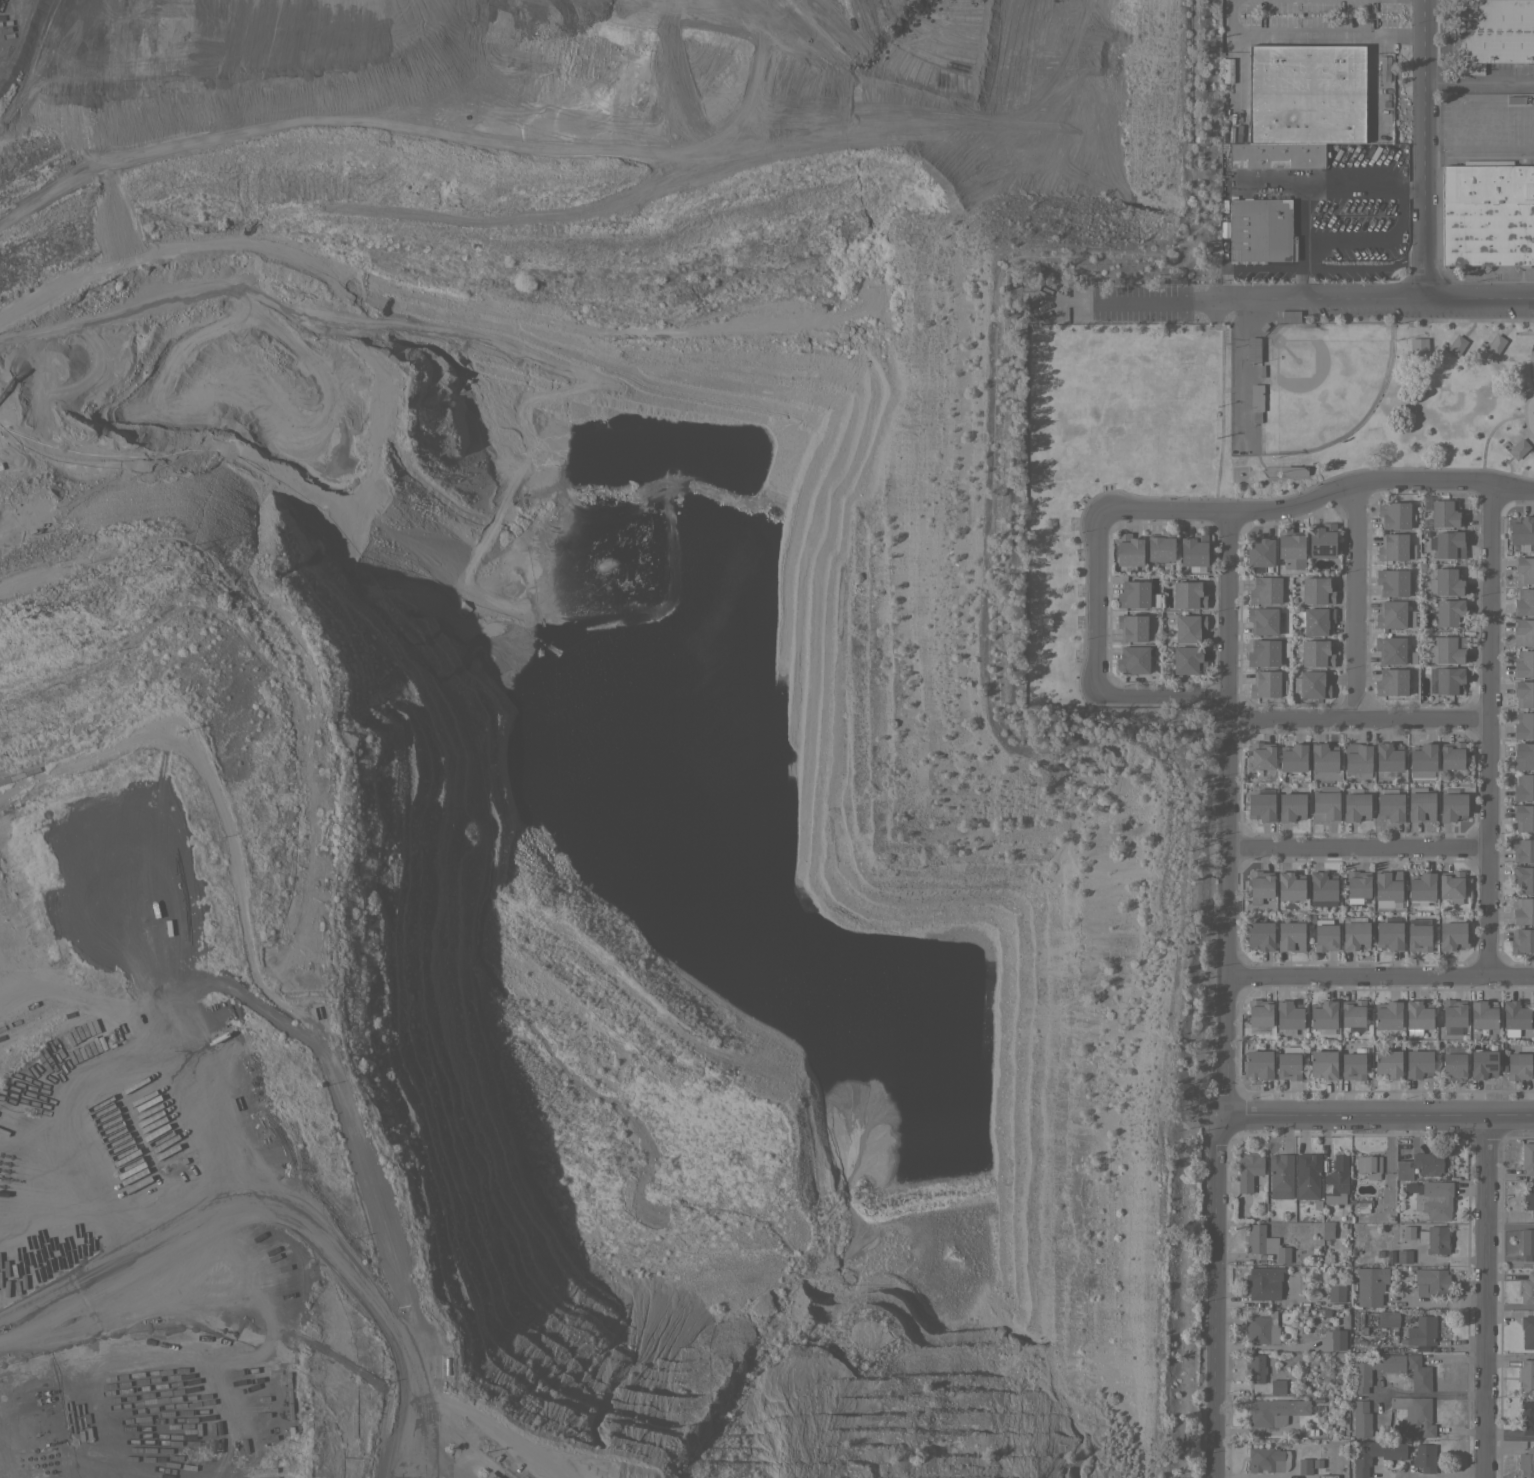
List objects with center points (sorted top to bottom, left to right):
building: (1491, 32)
road: (1310, 35)
building: (1532, 67)
road: (1478, 86)
building: (1305, 93)
building: (1515, 99)
building: (1276, 148)
road: (1422, 149)
road: (1477, 152)
building: (1276, 162)
road: (1268, 181)
road: (1311, 187)
road: (1410, 187)
building: (1487, 213)
building: (1260, 230)
road: (1374, 241)
road: (1246, 266)
road: (1363, 266)
road: (1301, 283)
road: (1272, 300)
building: (1286, 316)
building: (1495, 343)
building: (1456, 344)
building: (1417, 346)
building: (1253, 349)
park: (1324, 389)
building: (1256, 401)
park: (1236, 426)
building: (1519, 448)
building: (1294, 470)
road: (1163, 512)
building: (1444, 513)
building: (1393, 514)
building: (1521, 531)
building: (1321, 540)
building: (1448, 544)
building: (1160, 545)
building: (1395, 547)
building: (1290, 548)
building: (1128, 551)
building: (1193, 552)
building: (1258, 552)
building: (1524, 569)
building: (1394, 582)
building: (1445, 582)
building: (1265, 590)
building: (1316, 590)
building: (1133, 594)
building: (1188, 594)
building: (1524, 602)
road: (1353, 603)
building: (1448, 612)
building: (1393, 615)
building: (1262, 620)
building: (1314, 620)
building: (1131, 628)
building: (1189, 628)
building: (1523, 631)
building: (1390, 648)
building: (1447, 648)
building: (1266, 651)
building: (1316, 652)
building: (1132, 659)
building: (1188, 659)
building: (1524, 663)
building: (1448, 679)
building: (1391, 681)
building: (1265, 682)
building: (1311, 683)
building: (1523, 692)
road: (1358, 719)
building: (1523, 725)
road: (1487, 729)
quarry: (559, 746)
building: (1262, 754)
building: (1388, 755)
building: (1452, 755)
building: (1523, 755)
building: (1293, 756)
building: (1324, 756)
building: (1357, 758)
building: (1422, 759)
building: (1523, 787)
building: (1420, 804)
building: (1325, 805)
building: (1261, 806)
building: (1291, 806)
building: (1356, 806)
building: (1391, 806)
building: (1452, 806)
road: (1227, 815)
building: (1523, 816)
road: (1357, 849)
building: (1522, 849)
building: (1523, 878)
building: (1357, 884)
building: (1260, 885)
building: (1290, 885)
building: (1421, 885)
building: (1451, 885)
building: (1388, 887)
building: (1322, 888)
building: (1523, 910)
building: (1389, 934)
building: (1418, 934)
building: (1260, 935)
building: (1291, 935)
building: (1355, 935)
building: (1452, 935)
building: (1325, 937)
building: (1522, 940)
road: (1380, 976)
building: (1353, 1012)
building: (1259, 1014)
building: (1289, 1014)
building: (1388, 1014)
building: (1418, 1014)
building: (1483, 1014)
building: (1452, 1015)
building: (1323, 1016)
building: (1514, 1016)
building: (1483, 1062)
building: (1257, 1063)
building: (1388, 1063)
building: (1417, 1063)
building: (1323, 1064)
building: (1288, 1065)
building: (1518, 1065)
building: (1353, 1066)
building: (1453, 1066)
road: (1380, 1118)
building: (1527, 1157)
building: (1427, 1163)
building: (1369, 1165)
building: (1403, 1169)
building: (1248, 1170)
building: (1280, 1175)
building: (1307, 1175)
building: (1336, 1180)
building: (1436, 1198)
building: (1528, 1198)
building: (1362, 1205)
road: (1508, 1225)
building: (1435, 1240)
building: (1266, 1243)
building: (1527, 1243)
building: (1389, 1256)
building: (1402, 1256)
building: (1434, 1281)
building: (1263, 1282)
building: (1370, 1285)
building: (1527, 1289)
building: (1336, 1293)
road: (1212, 1296)
road: (1482, 1298)
road: (1508, 1304)
building: (1388, 1318)
building: (1261, 1328)
building: (1421, 1331)
building: (1527, 1331)
building: (1333, 1339)
road: (1507, 1355)
building: (1255, 1369)
building: (1418, 1373)
building: (1526, 1373)
building: (1361, 1379)
building: (1277, 1387)
road: (1428, 1392)
building: (1274, 1412)
building: (1412, 1415)
building: (1527, 1416)
building: (1361, 1419)
road: (1507, 1435)
building: (1374, 1453)
building: (1424, 1456)
building: (1267, 1458)
building: (1526, 1461)
building: (1304, 1465)
road: (1430, 1474)
building: (490, 1475)

